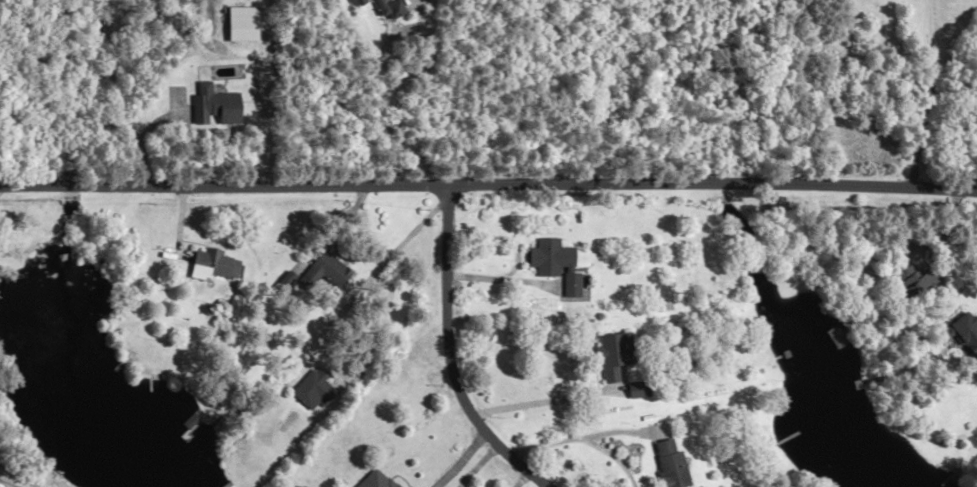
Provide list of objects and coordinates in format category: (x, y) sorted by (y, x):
road: (379, 90)
road: (931, 90)
building: (221, 105)
road: (488, 177)
building: (216, 262)
building: (559, 264)
building: (329, 272)
building: (909, 281)
building: (957, 336)
road: (451, 352)
building: (615, 361)
building: (640, 389)
building: (316, 390)
building: (0, 455)
road: (461, 458)
building: (673, 464)
building: (377, 480)

